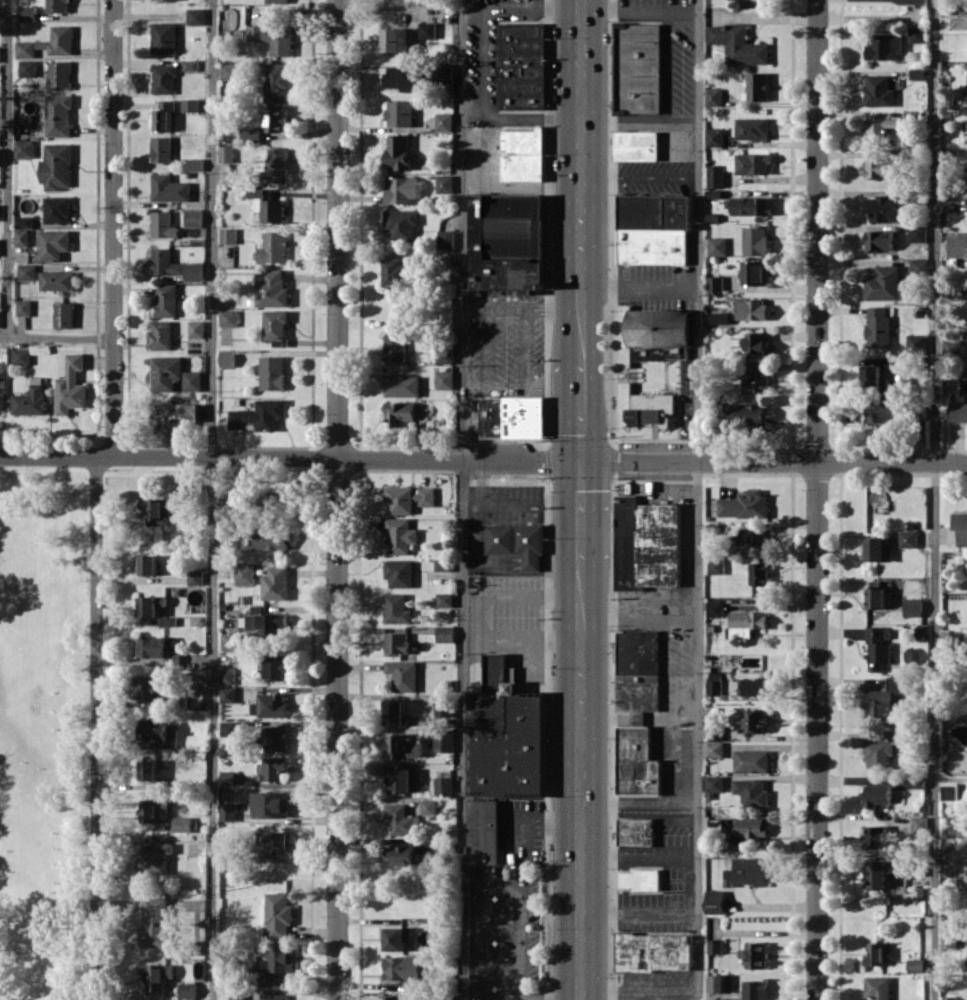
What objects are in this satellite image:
building: (277, 1)
building: (57, 6)
road: (640, 9)
road: (482, 10)
building: (28, 12)
building: (196, 16)
building: (428, 30)
building: (917, 34)
building: (164, 37)
building: (273, 38)
building: (398, 39)
building: (49, 42)
building: (737, 44)
building: (884, 46)
building: (0, 56)
building: (190, 64)
building: (521, 65)
building: (27, 68)
building: (638, 68)
building: (230, 71)
building: (917, 73)
building: (59, 74)
building: (405, 77)
building: (164, 78)
building: (277, 82)
building: (758, 86)
building: (878, 90)
building: (713, 96)
building: (190, 104)
building: (400, 113)
road: (532, 113)
building: (163, 114)
building: (58, 115)
road: (640, 118)
building: (276, 119)
building: (444, 121)
road: (581, 122)
building: (752, 128)
building: (882, 130)
building: (252, 133)
building: (714, 137)
building: (0, 141)
building: (636, 145)
building: (24, 148)
building: (162, 149)
building: (398, 151)
building: (227, 153)
building: (523, 154)
building: (753, 163)
building: (195, 164)
building: (277, 165)
building: (57, 166)
building: (881, 167)
road: (8, 168)
building: (715, 175)
building: (445, 184)
building: (169, 188)
building: (402, 189)
building: (269, 204)
building: (749, 205)
building: (884, 208)
building: (57, 209)
building: (194, 217)
building: (24, 221)
building: (163, 224)
building: (401, 225)
road: (114, 227)
building: (654, 228)
building: (917, 233)
building: (229, 235)
building: (22, 237)
building: (446, 238)
building: (755, 240)
building: (879, 240)
building: (508, 241)
building: (0, 243)
building: (53, 243)
building: (718, 245)
building: (957, 246)
building: (273, 247)
building: (166, 262)
building: (918, 266)
building: (27, 271)
building: (195, 271)
building: (396, 271)
building: (756, 272)
building: (57, 280)
building: (715, 283)
building: (883, 283)
road: (641, 287)
building: (271, 288)
building: (166, 301)
road: (582, 304)
building: (24, 307)
building: (752, 308)
building: (64, 314)
building: (228, 317)
building: (720, 317)
building: (276, 326)
building: (878, 326)
building: (659, 327)
building: (196, 328)
building: (161, 335)
road: (57, 337)
building: (756, 342)
building: (396, 346)
building: (952, 347)
building: (659, 352)
building: (445, 355)
building: (21, 356)
building: (227, 358)
building: (272, 372)
building: (875, 373)
building: (174, 374)
building: (754, 376)
building: (444, 379)
building: (70, 385)
building: (402, 385)
building: (2, 395)
building: (30, 399)
building: (651, 408)
building: (882, 411)
building: (957, 411)
building: (400, 412)
road: (582, 412)
building: (748, 414)
building: (259, 415)
building: (177, 416)
building: (512, 416)
road: (483, 459)
traffic signals: (583, 461)
building: (182, 493)
building: (408, 498)
road: (212, 499)
road: (337, 499)
road: (464, 499)
road: (697, 499)
road: (817, 499)
road: (935, 500)
building: (744, 504)
building: (156, 511)
road: (582, 512)
building: (960, 527)
building: (400, 535)
building: (908, 535)
building: (751, 536)
building: (269, 539)
building: (516, 542)
building: (647, 544)
building: (878, 549)
building: (148, 564)
building: (442, 564)
building: (716, 565)
building: (245, 573)
building: (399, 573)
building: (759, 573)
building: (195, 577)
building: (276, 583)
building: (875, 597)
building: (444, 599)
building: (151, 604)
building: (714, 606)
building: (913, 606)
building: (397, 608)
road: (639, 610)
building: (746, 622)
building: (267, 624)
building: (445, 634)
road: (582, 634)
building: (231, 641)
building: (397, 642)
building: (878, 647)
building: (158, 649)
building: (276, 666)
building: (637, 673)
building: (402, 674)
building: (227, 675)
building: (714, 683)
building: (752, 686)
building: (150, 687)
building: (228, 694)
building: (883, 697)
building: (272, 704)
building: (442, 706)
building: (395, 712)
building: (754, 720)
road: (96, 728)
building: (229, 728)
building: (159, 732)
building: (715, 732)
park: (44, 733)
building: (505, 735)
building: (276, 737)
building: (444, 742)
building: (405, 745)
building: (714, 748)
building: (882, 748)
building: (751, 761)
building: (637, 762)
building: (274, 767)
building: (148, 770)
building: (228, 777)
building: (399, 778)
building: (715, 783)
building: (443, 784)
building: (949, 791)
building: (752, 792)
building: (876, 794)
road: (639, 802)
building: (270, 804)
building: (428, 806)
building: (152, 811)
building: (228, 811)
building: (401, 818)
building: (182, 823)
building: (919, 824)
building: (750, 828)
building: (483, 831)
building: (635, 831)
building: (875, 836)
building: (274, 841)
road: (581, 852)
building: (156, 854)
building: (401, 854)
building: (750, 870)
building: (876, 875)
building: (640, 879)
building: (715, 901)
building: (278, 915)
building: (154, 922)
road: (487, 927)
building: (948, 936)
building: (397, 937)
road: (519, 944)
building: (714, 945)
building: (652, 952)
building: (754, 954)
building: (875, 954)
building: (276, 960)
building: (916, 965)
building: (403, 967)
building: (156, 975)
building: (719, 983)
building: (877, 987)
building: (187, 989)
building: (755, 989)
building: (237, 994)
building: (949, 998)
building: (405, 999)
road: (520, 999)

